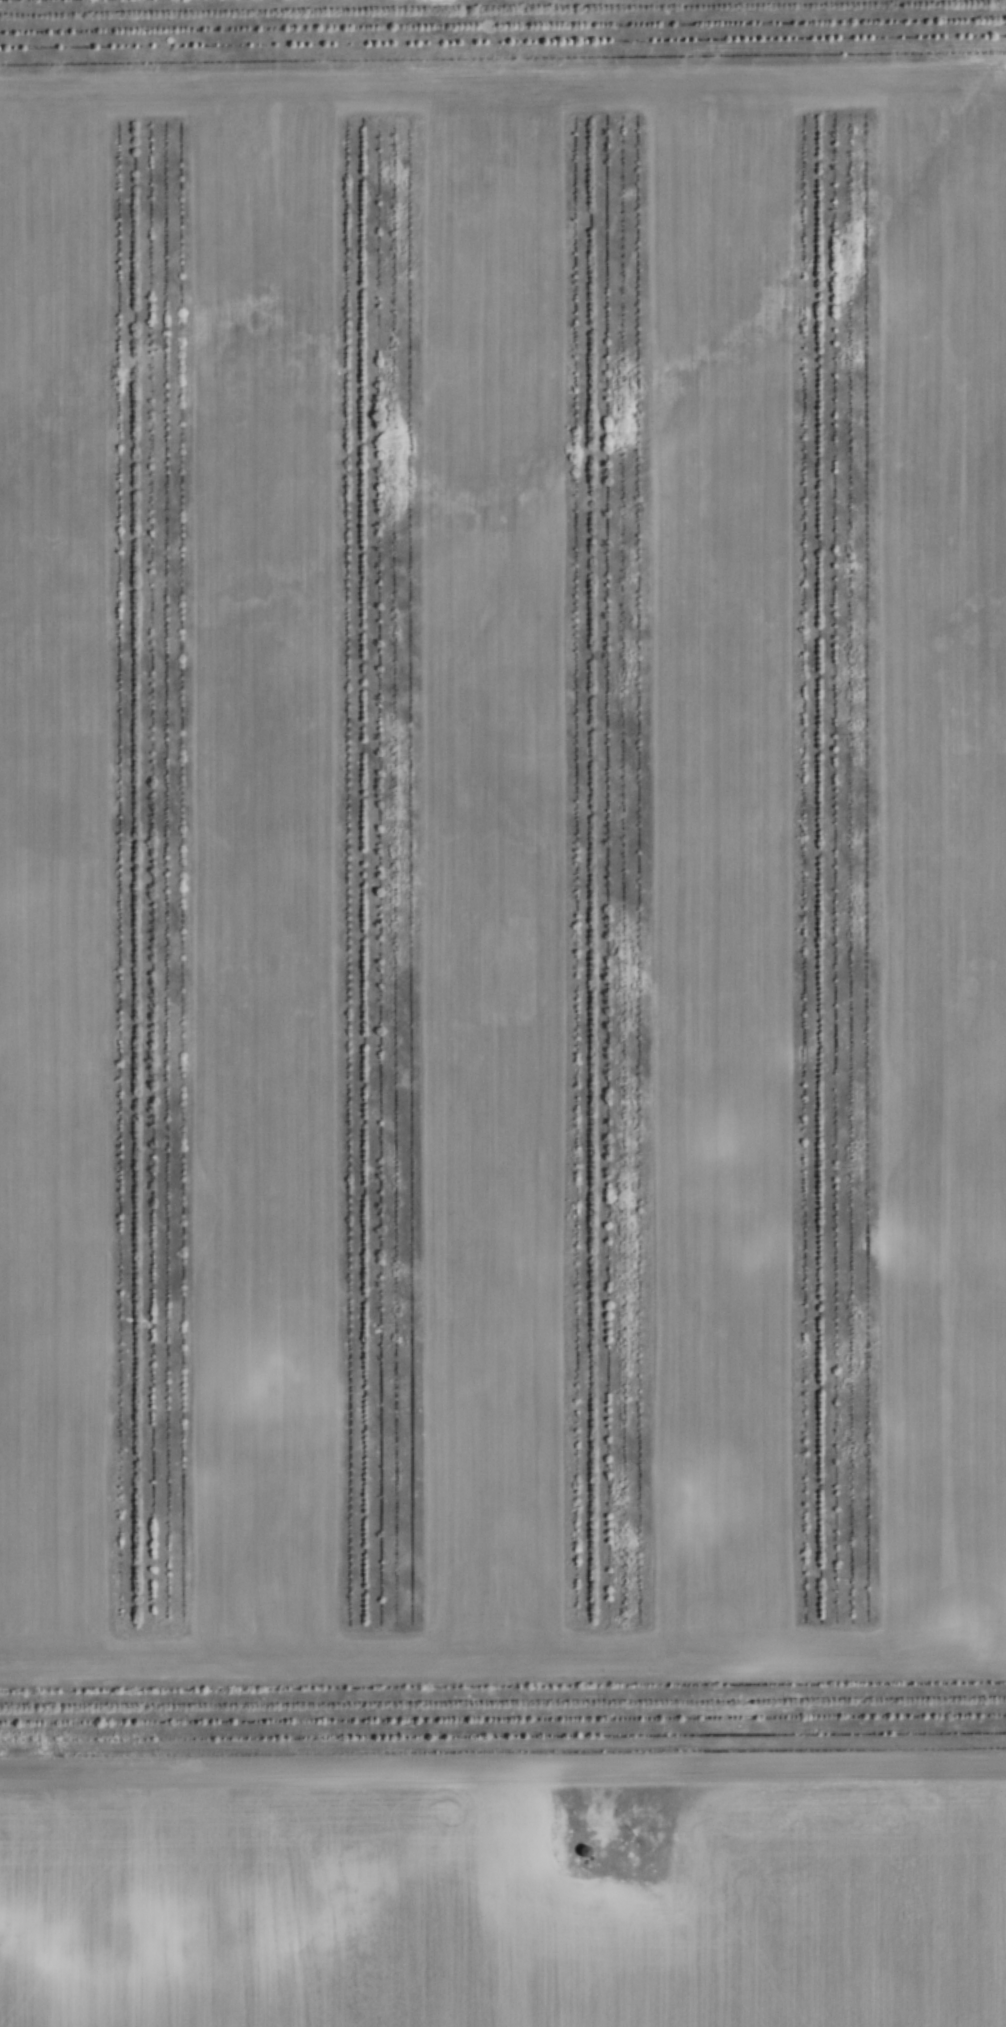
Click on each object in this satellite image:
building: (579, 1848)

